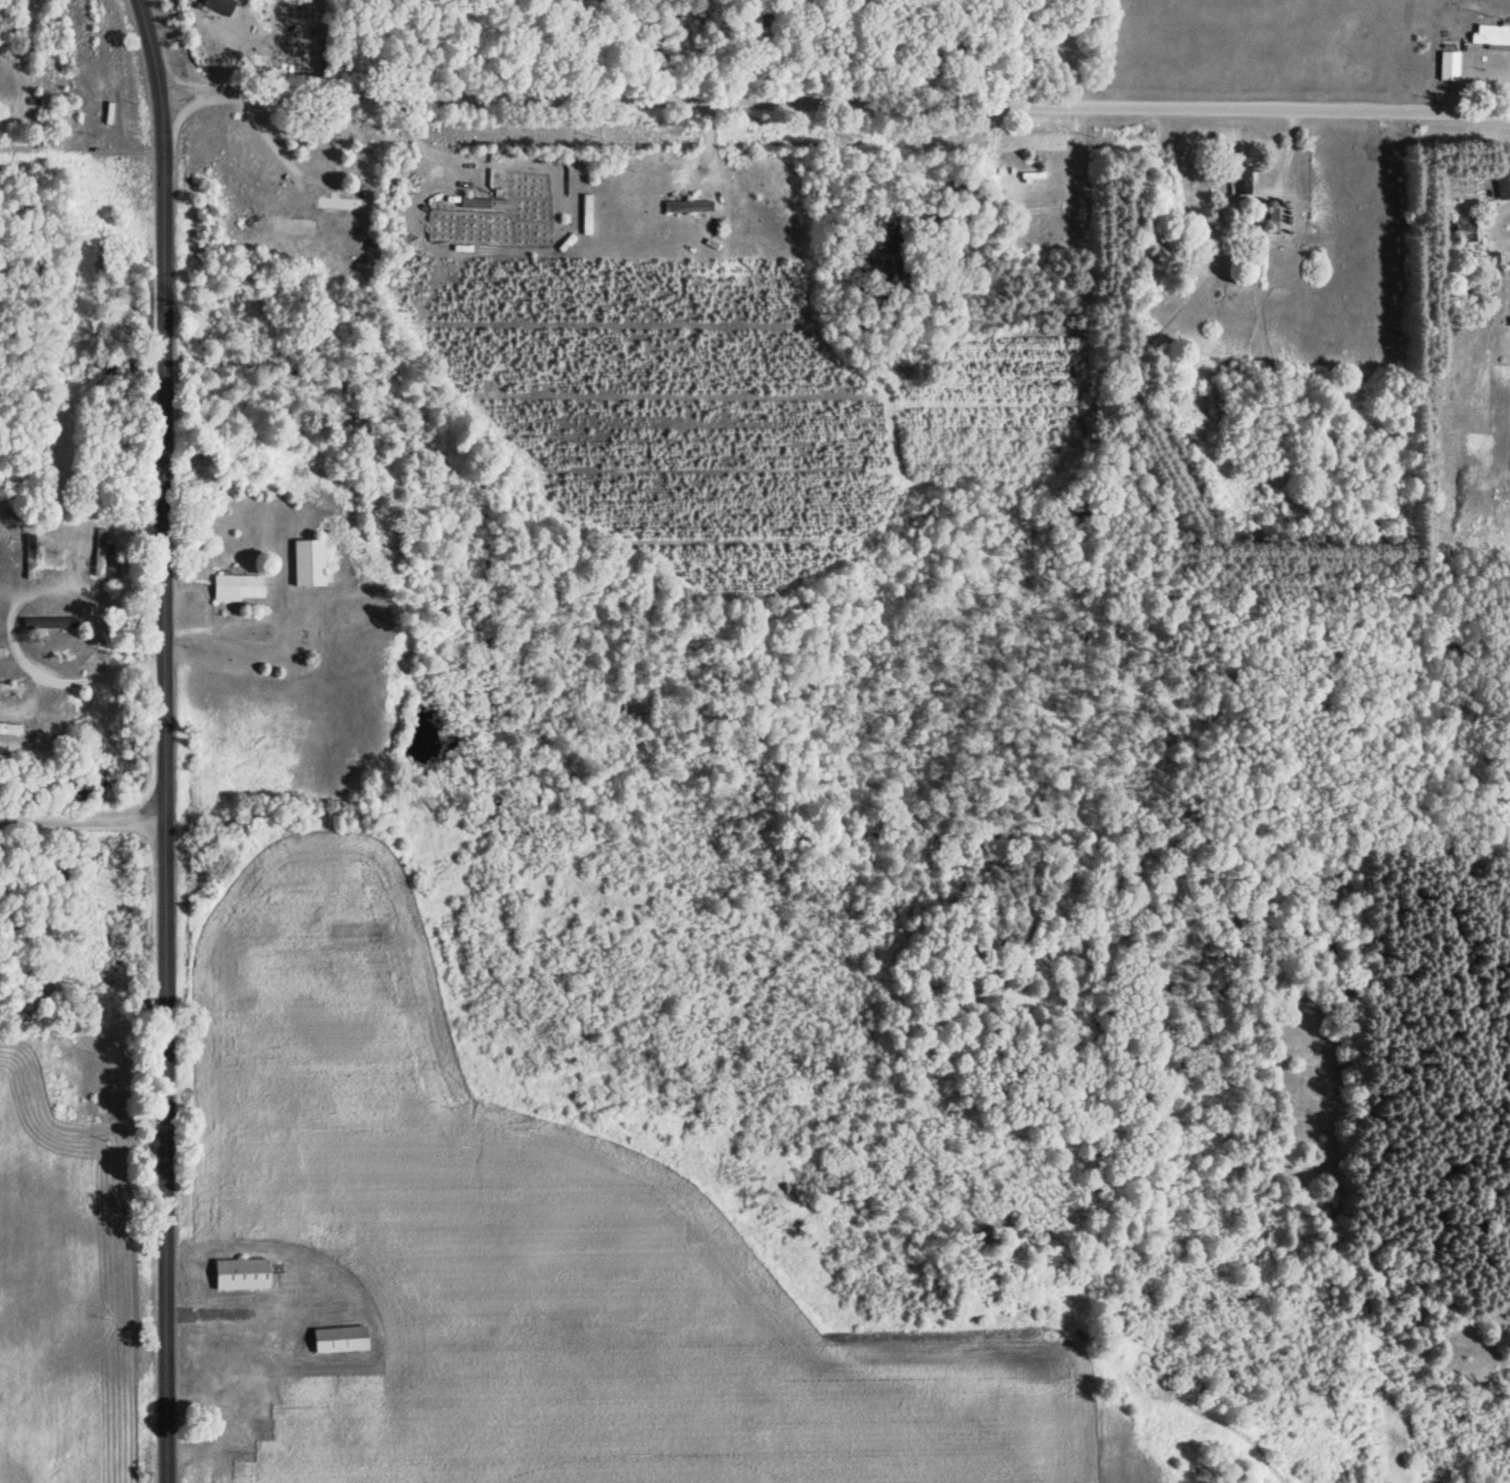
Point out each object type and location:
building: (216, 7)
building: (1491, 38)
building: (1447, 62)
road: (837, 105)
building: (1237, 179)
building: (1502, 186)
building: (336, 205)
building: (482, 206)
building: (771, 206)
building: (687, 209)
building: (1274, 222)
building: (1463, 232)
building: (107, 554)
building: (316, 564)
building: (35, 566)
building: (245, 588)
building: (48, 624)
building: (6, 652)
building: (13, 688)
building: (13, 728)
road: (162, 739)
road: (82, 821)
crop: (545, 1236)
building: (238, 1275)
building: (335, 1340)
building: (234, 1407)

